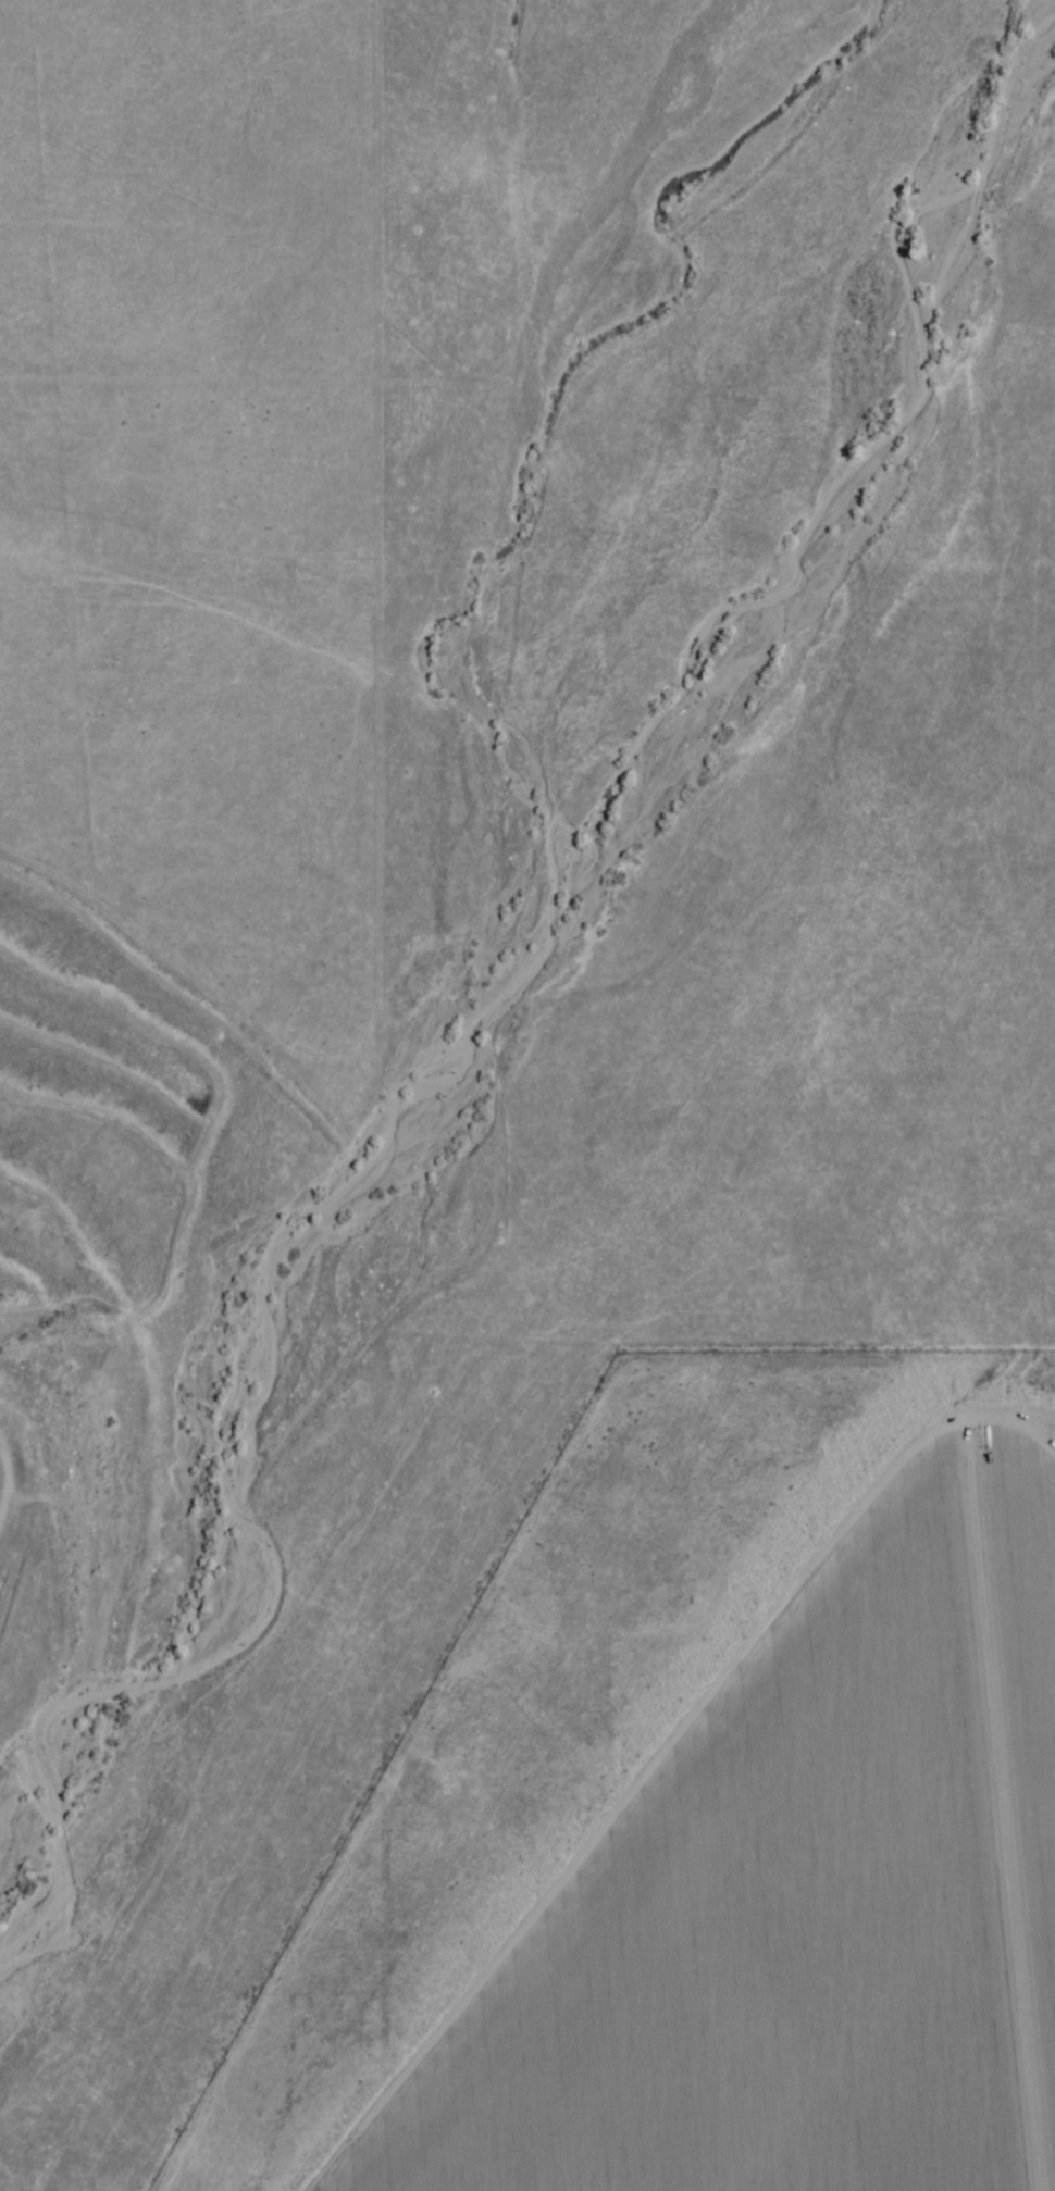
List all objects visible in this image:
crop: (753, 2011)

